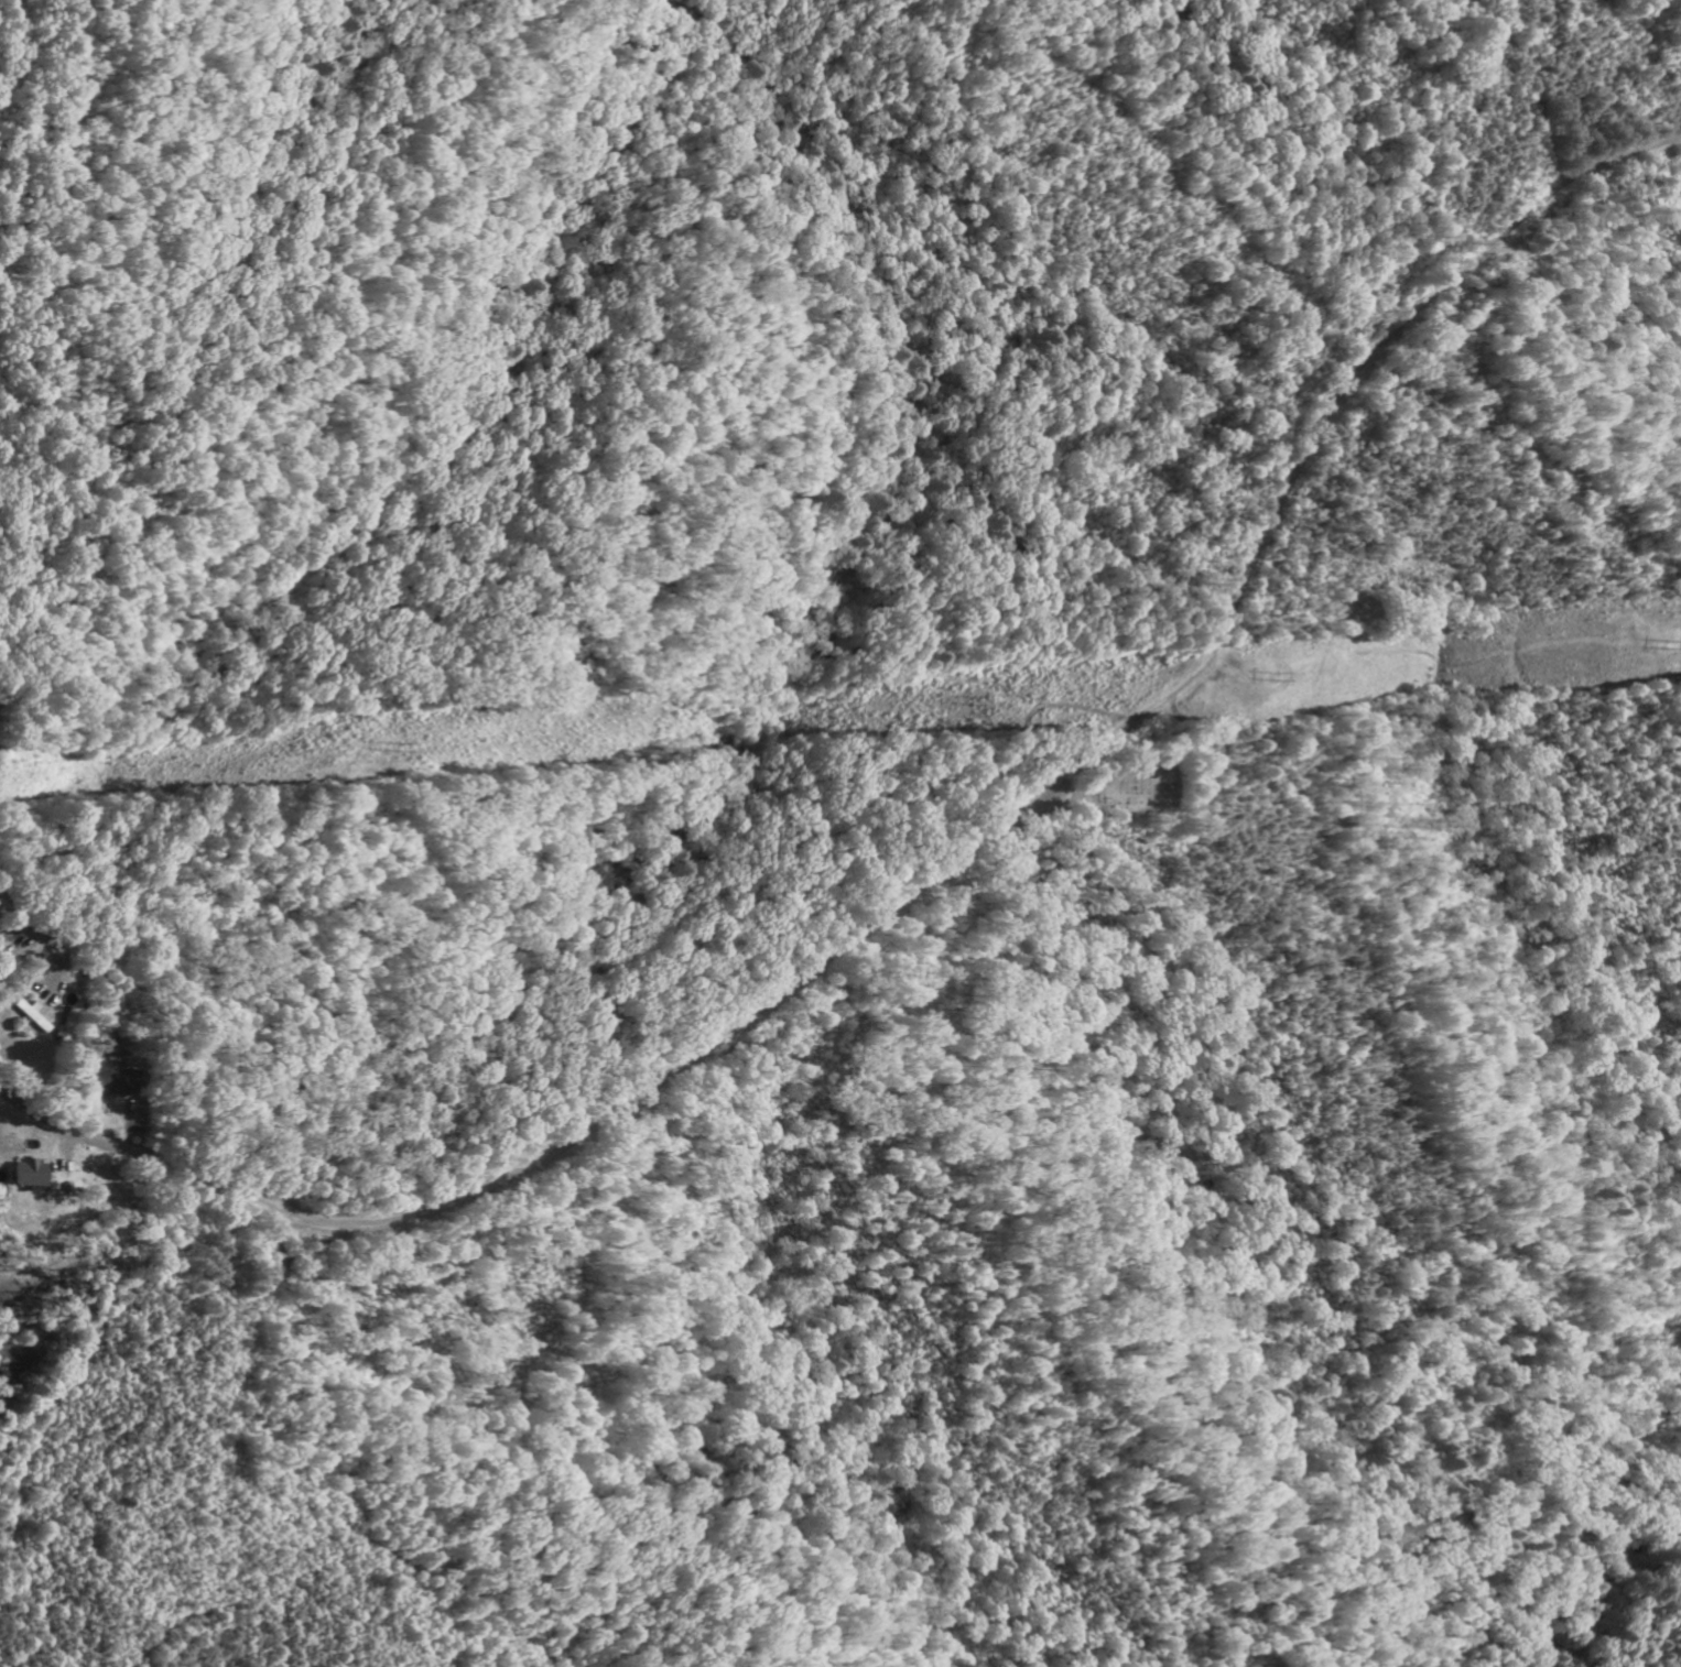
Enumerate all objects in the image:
road: (935, 869)
road: (18, 914)
building: (26, 1016)
building: (105, 1082)
building: (23, 1174)

